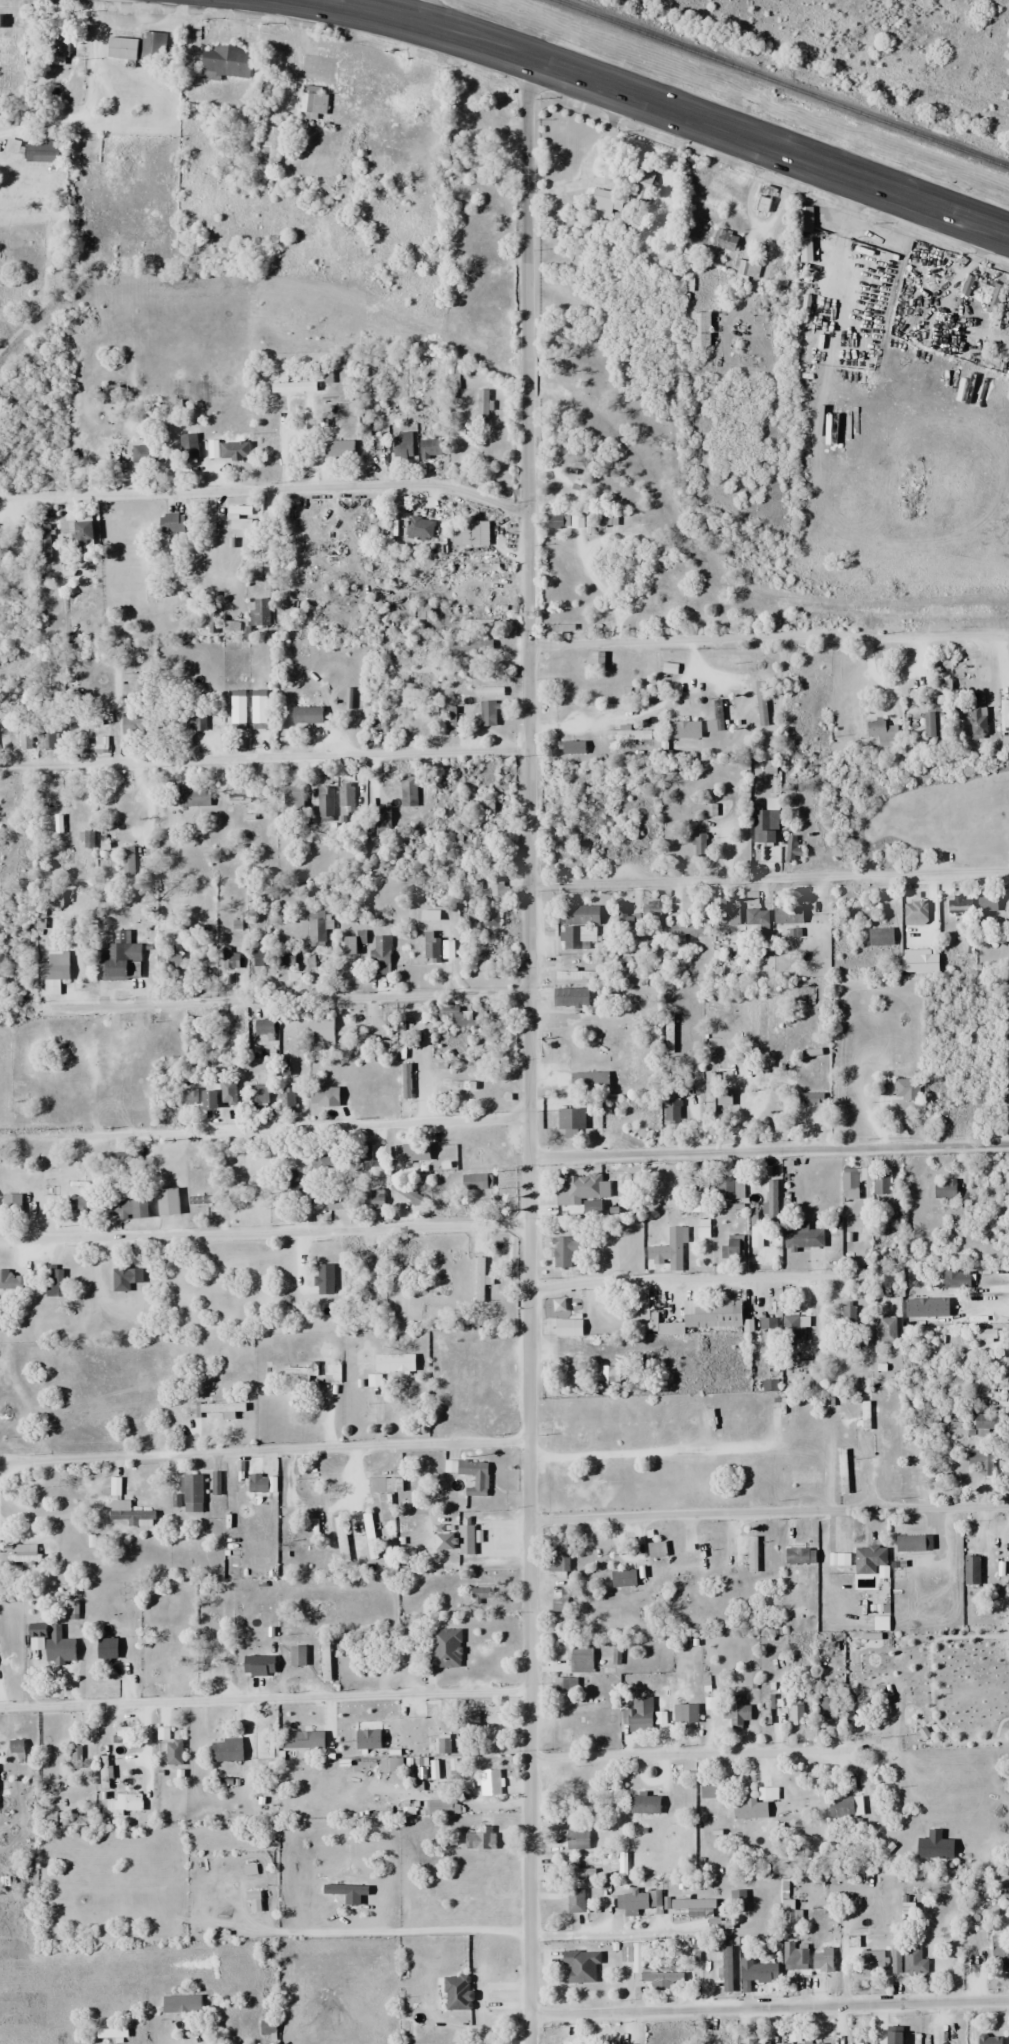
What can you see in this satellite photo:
road: (428, 12)
building: (224, 62)
railway: (781, 84)
building: (312, 102)
road: (668, 109)
building: (267, 147)
building: (639, 181)
building: (763, 198)
building: (605, 204)
road: (756, 223)
building: (807, 245)
building: (747, 268)
building: (698, 329)
building: (451, 379)
building: (481, 407)
building: (110, 443)
building: (400, 445)
building: (427, 447)
building: (226, 450)
building: (338, 451)
road: (265, 489)
road: (437, 513)
building: (169, 523)
building: (418, 528)
building: (467, 531)
building: (80, 535)
building: (43, 538)
road: (764, 636)
building: (562, 696)
building: (486, 713)
building: (304, 714)
building: (977, 719)
building: (932, 722)
building: (684, 728)
building: (881, 732)
building: (626, 733)
building: (569, 747)
road: (303, 756)
building: (408, 793)
building: (192, 796)
building: (243, 797)
building: (324, 802)
building: (345, 802)
building: (764, 825)
building: (699, 843)
building: (792, 847)
building: (127, 861)
road: (768, 876)
building: (496, 890)
building: (53, 897)
building: (726, 909)
building: (754, 910)
building: (786, 913)
building: (490, 918)
building: (579, 926)
building: (878, 936)
building: (491, 941)
building: (347, 944)
building: (430, 945)
building: (378, 954)
building: (229, 957)
building: (121, 959)
building: (284, 959)
building: (175, 960)
building: (52, 971)
building: (571, 974)
building: (569, 996)
road: (292, 999)
building: (452, 1016)
building: (262, 1026)
road: (528, 1050)
building: (814, 1070)
building: (908, 1071)
building: (30, 1077)
building: (587, 1080)
building: (225, 1086)
building: (377, 1089)
building: (256, 1094)
building: (319, 1095)
building: (198, 1097)
building: (716, 1099)
building: (285, 1100)
building: (670, 1110)
building: (609, 1112)
building: (570, 1118)
road: (266, 1127)
road: (768, 1150)
building: (361, 1152)
building: (409, 1152)
building: (248, 1170)
building: (475, 1181)
building: (880, 1182)
building: (289, 1183)
building: (849, 1185)
building: (728, 1187)
building: (763, 1189)
building: (943, 1189)
building: (575, 1192)
building: (369, 1195)
building: (166, 1201)
building: (76, 1204)
building: (124, 1206)
building: (10, 1209)
road: (264, 1232)
building: (800, 1236)
building: (731, 1248)
building: (561, 1250)
building: (666, 1250)
building: (124, 1276)
road: (704, 1278)
building: (954, 1278)
building: (12, 1279)
building: (324, 1279)
building: (479, 1279)
building: (711, 1313)
building: (847, 1314)
building: (766, 1324)
building: (566, 1327)
building: (668, 1327)
building: (793, 1327)
building: (887, 1330)
building: (393, 1361)
building: (768, 1369)
building: (297, 1372)
building: (607, 1373)
building: (374, 1380)
building: (216, 1407)
building: (985, 1420)
building: (786, 1425)
road: (267, 1452)
building: (981, 1461)
building: (841, 1471)
building: (804, 1476)
building: (257, 1483)
building: (375, 1484)
building: (190, 1492)
building: (128, 1512)
road: (769, 1513)
building: (313, 1524)
building: (487, 1543)
building: (912, 1543)
building: (654, 1549)
building: (839, 1549)
building: (25, 1554)
building: (751, 1554)
building: (557, 1558)
building: (868, 1559)
building: (970, 1569)
building: (622, 1577)
building: (559, 1601)
building: (35, 1629)
building: (57, 1646)
building: (105, 1648)
building: (445, 1648)
building: (215, 1653)
building: (256, 1665)
road: (264, 1699)
building: (738, 1714)
building: (637, 1715)
building: (795, 1715)
building: (469, 1720)
building: (435, 1728)
building: (260, 1735)
building: (224, 1749)
building: (172, 1752)
road: (689, 1754)
building: (74, 1755)
building: (487, 1783)
building: (708, 1790)
building: (122, 1803)
building: (642, 1803)
building: (840, 1805)
building: (441, 1806)
building: (805, 1807)
building: (748, 1808)
building: (479, 1838)
building: (575, 1838)
building: (577, 1872)
building: (574, 1900)
building: (735, 1900)
building: (252, 1901)
building: (640, 1902)
building: (690, 1903)
road: (618, 1931)
building: (999, 1951)
building: (793, 1956)
building: (821, 1961)
building: (913, 1961)
building: (870, 1962)
building: (579, 1965)
building: (756, 1972)
building: (659, 1976)
building: (180, 2003)
road: (769, 2008)
building: (108, 2035)
building: (891, 2038)
building: (988, 2039)
building: (570, 2042)
building: (598, 2042)
building: (758, 2042)
building: (806, 2043)
building: (858, 2043)

